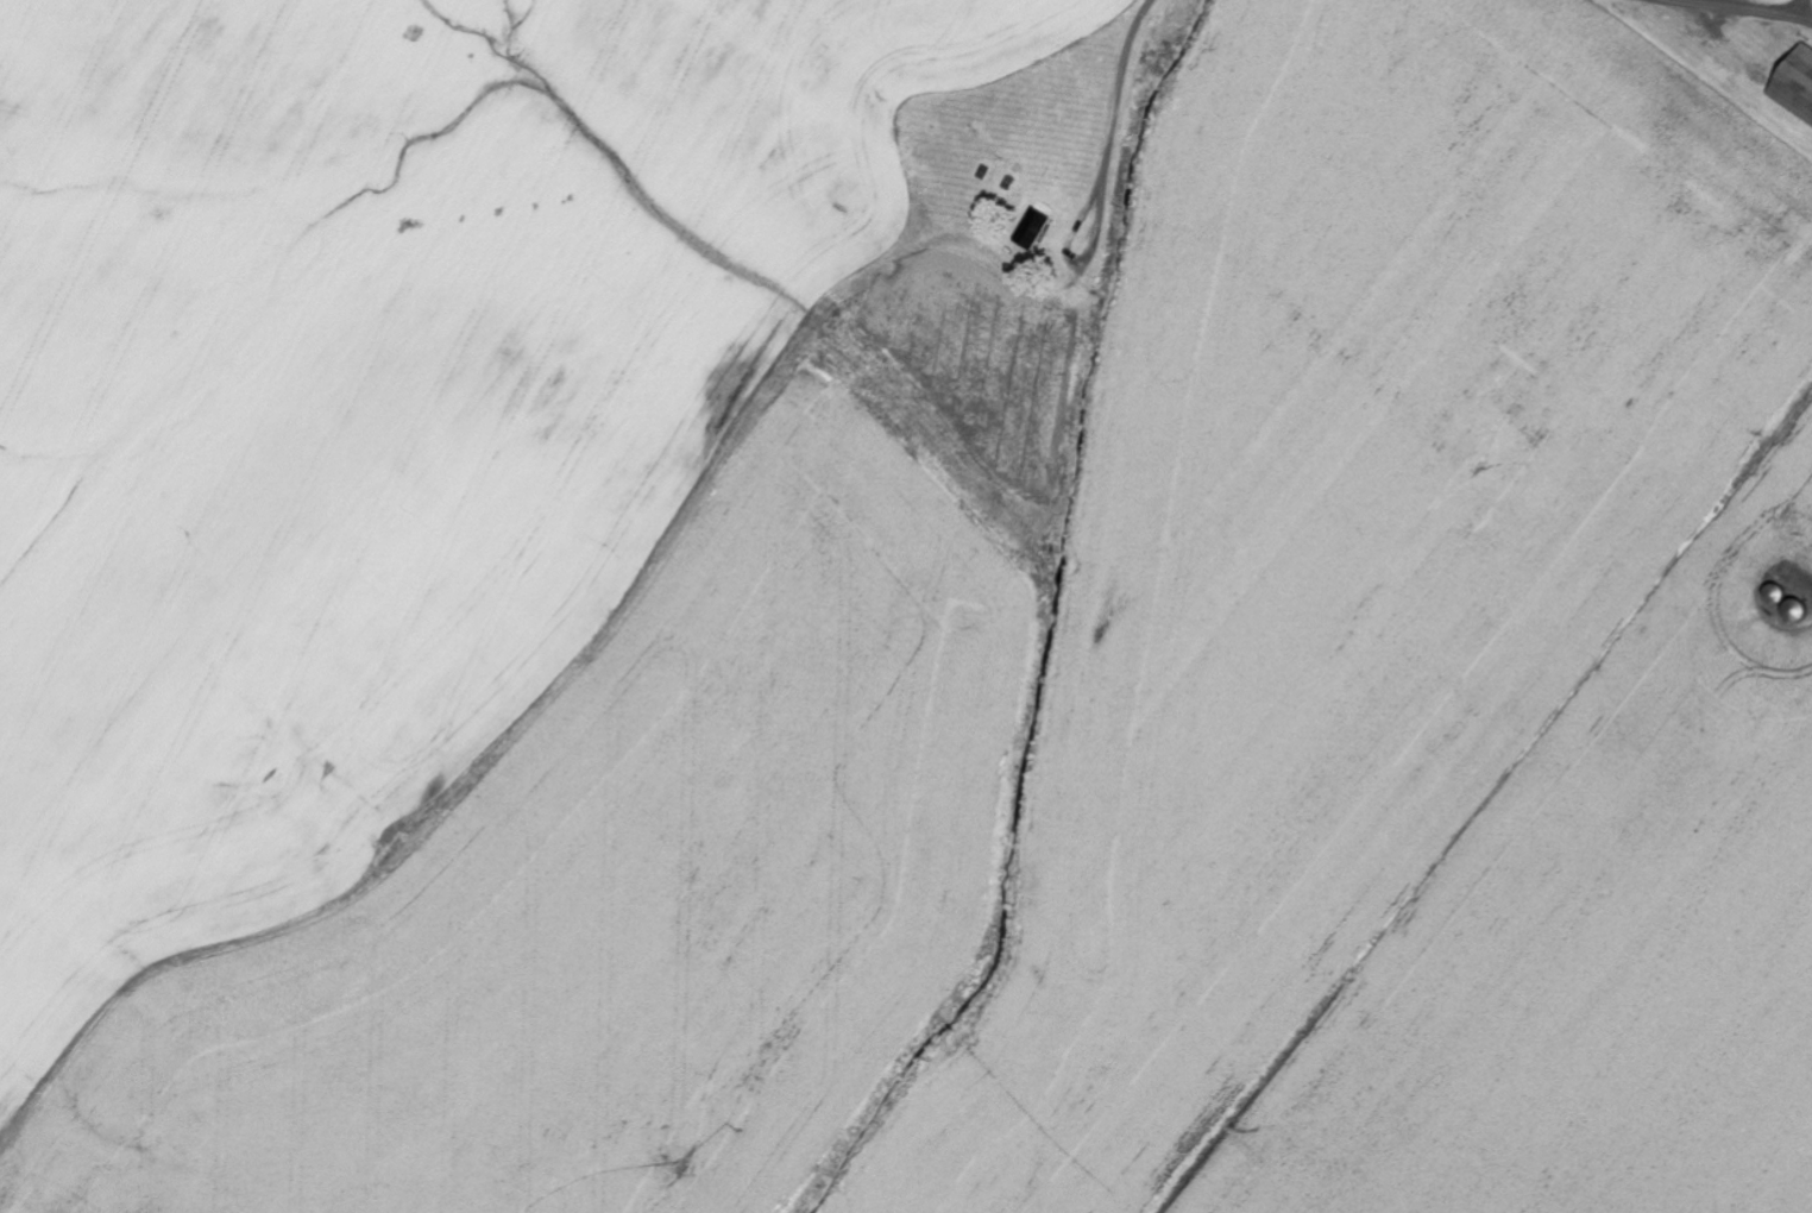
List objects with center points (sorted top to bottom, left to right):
building: (1794, 84)

